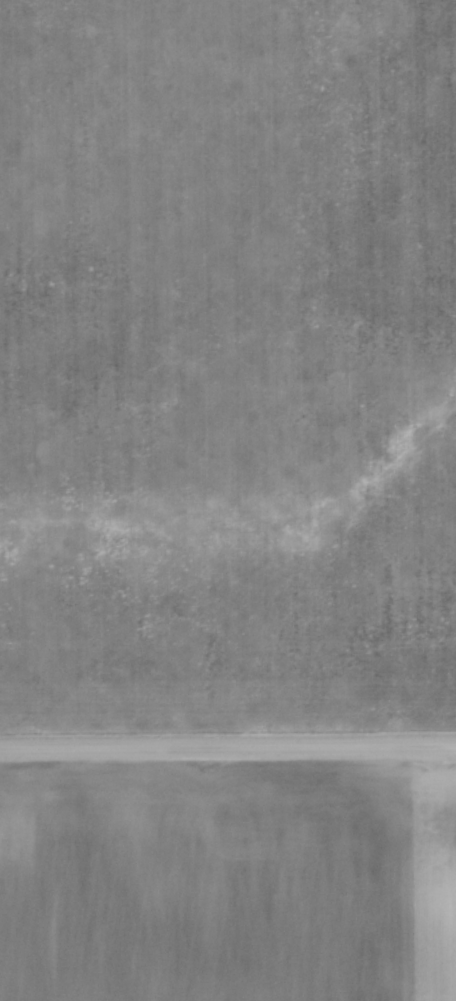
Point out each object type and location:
road: (227, 746)

